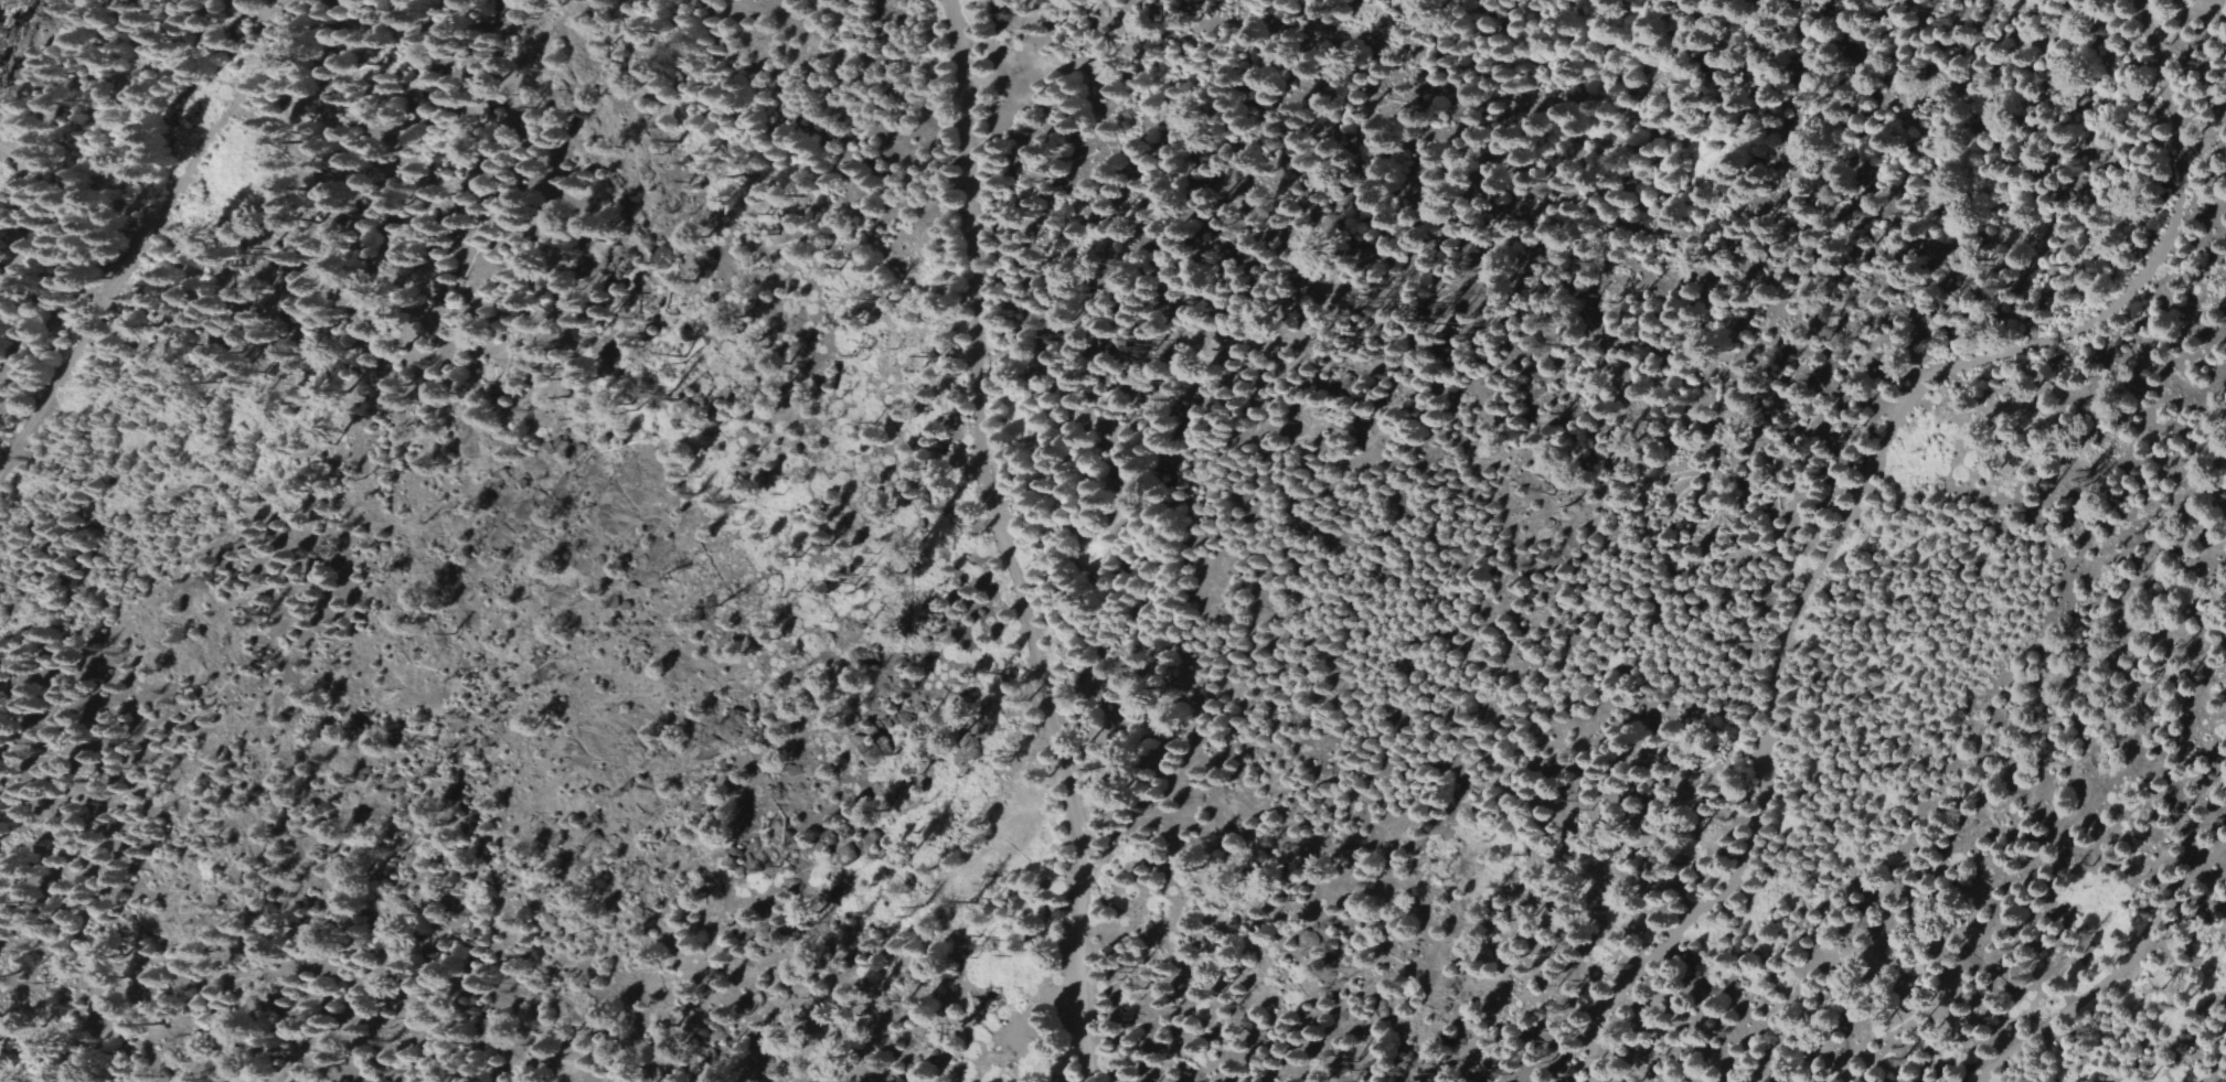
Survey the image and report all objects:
road: (35, 214)
road: (145, 237)
road: (1001, 544)

